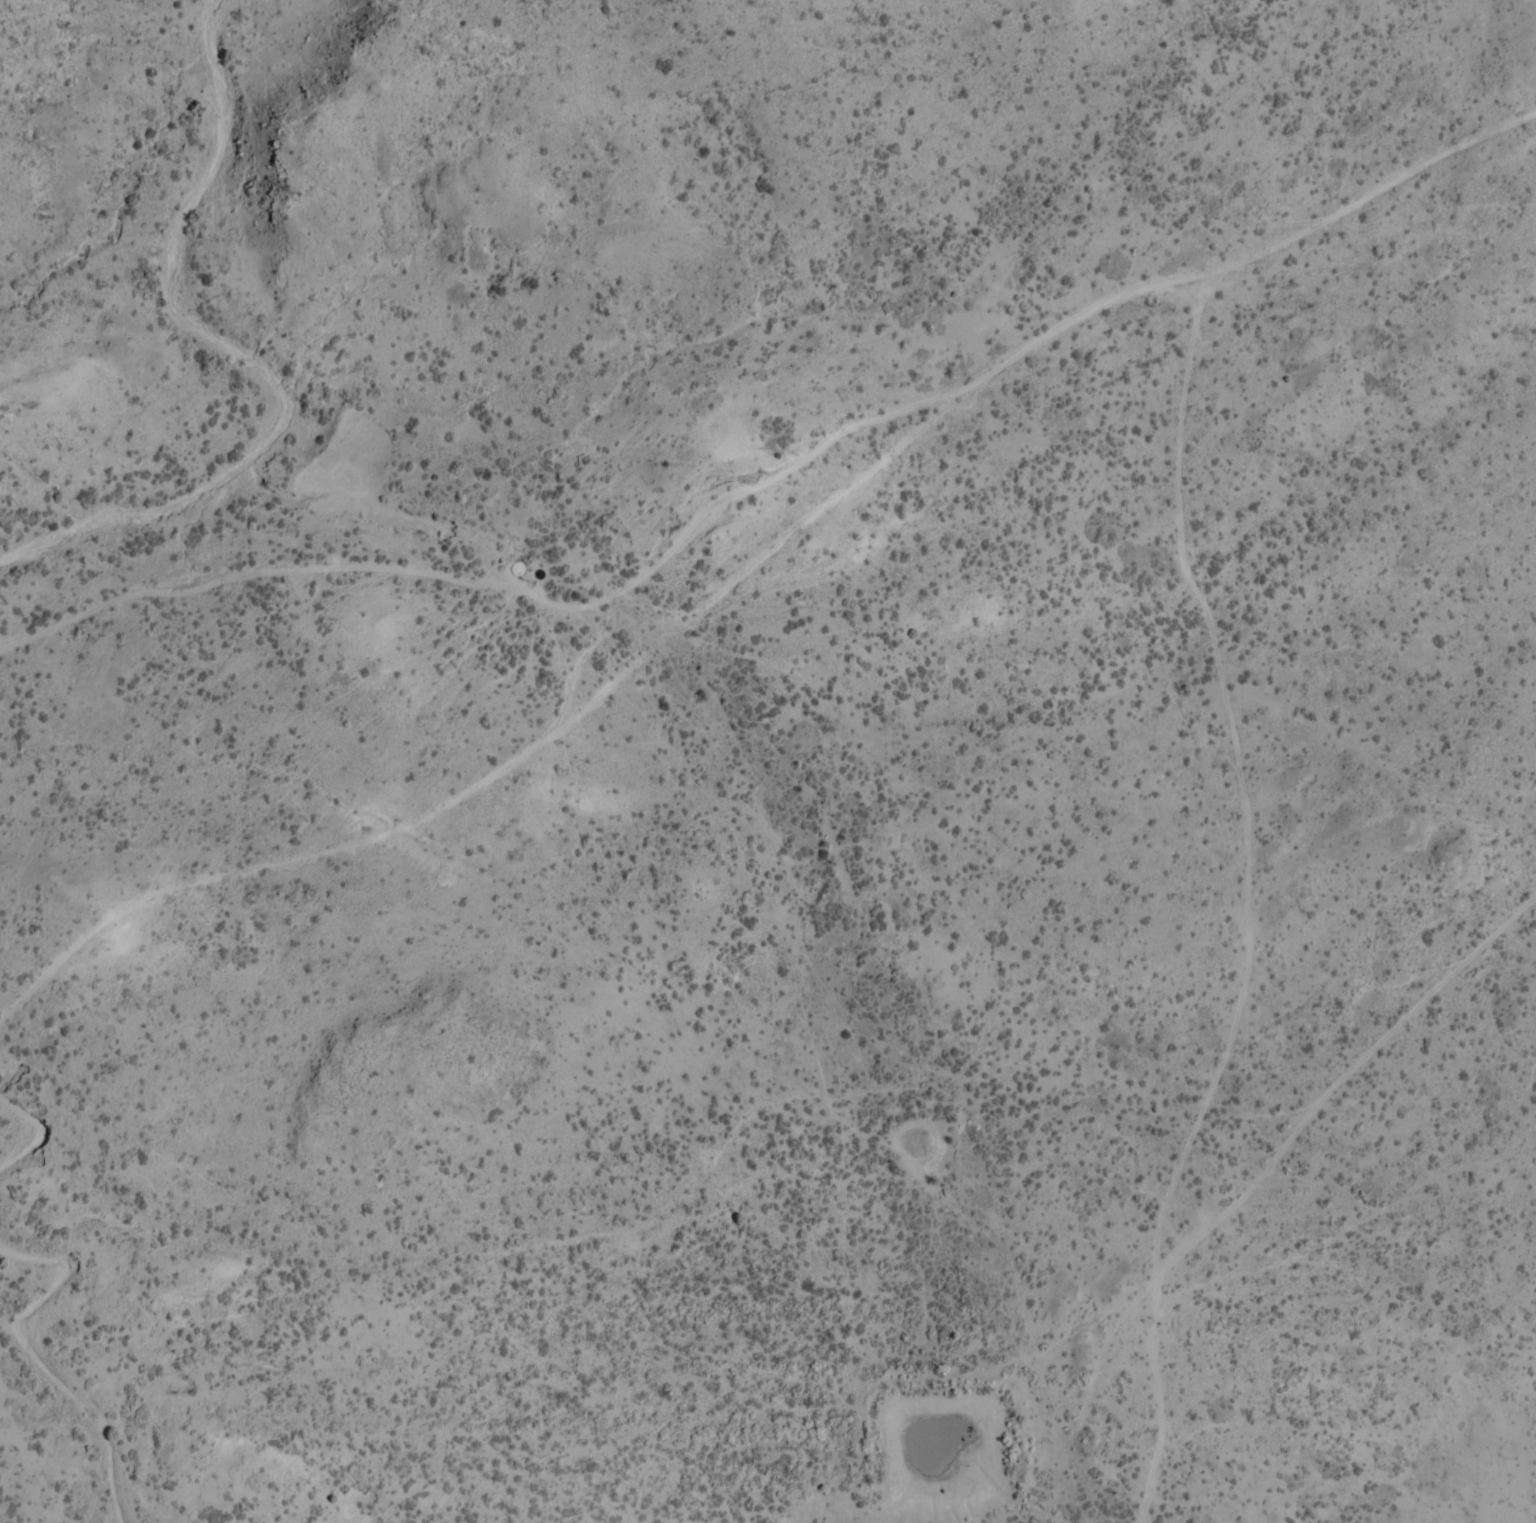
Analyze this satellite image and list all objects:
road: (790, 452)

